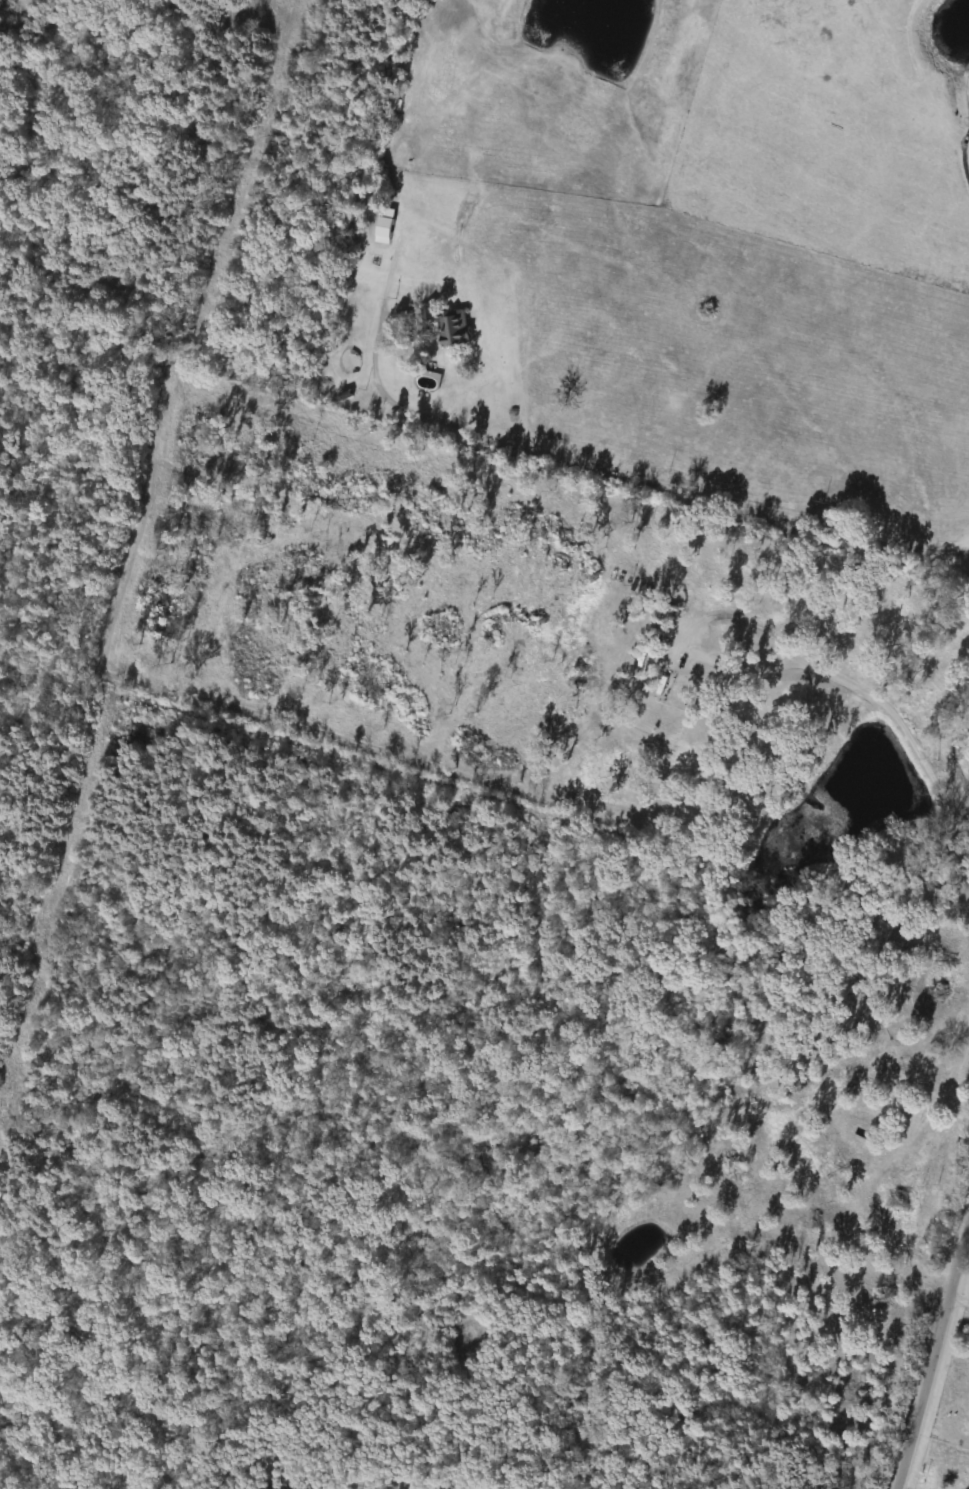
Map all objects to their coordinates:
road: (965, 156)
building: (385, 227)
building: (450, 326)
road: (597, 466)
road: (878, 707)
building: (837, 1146)
building: (895, 1198)
road: (929, 1349)

